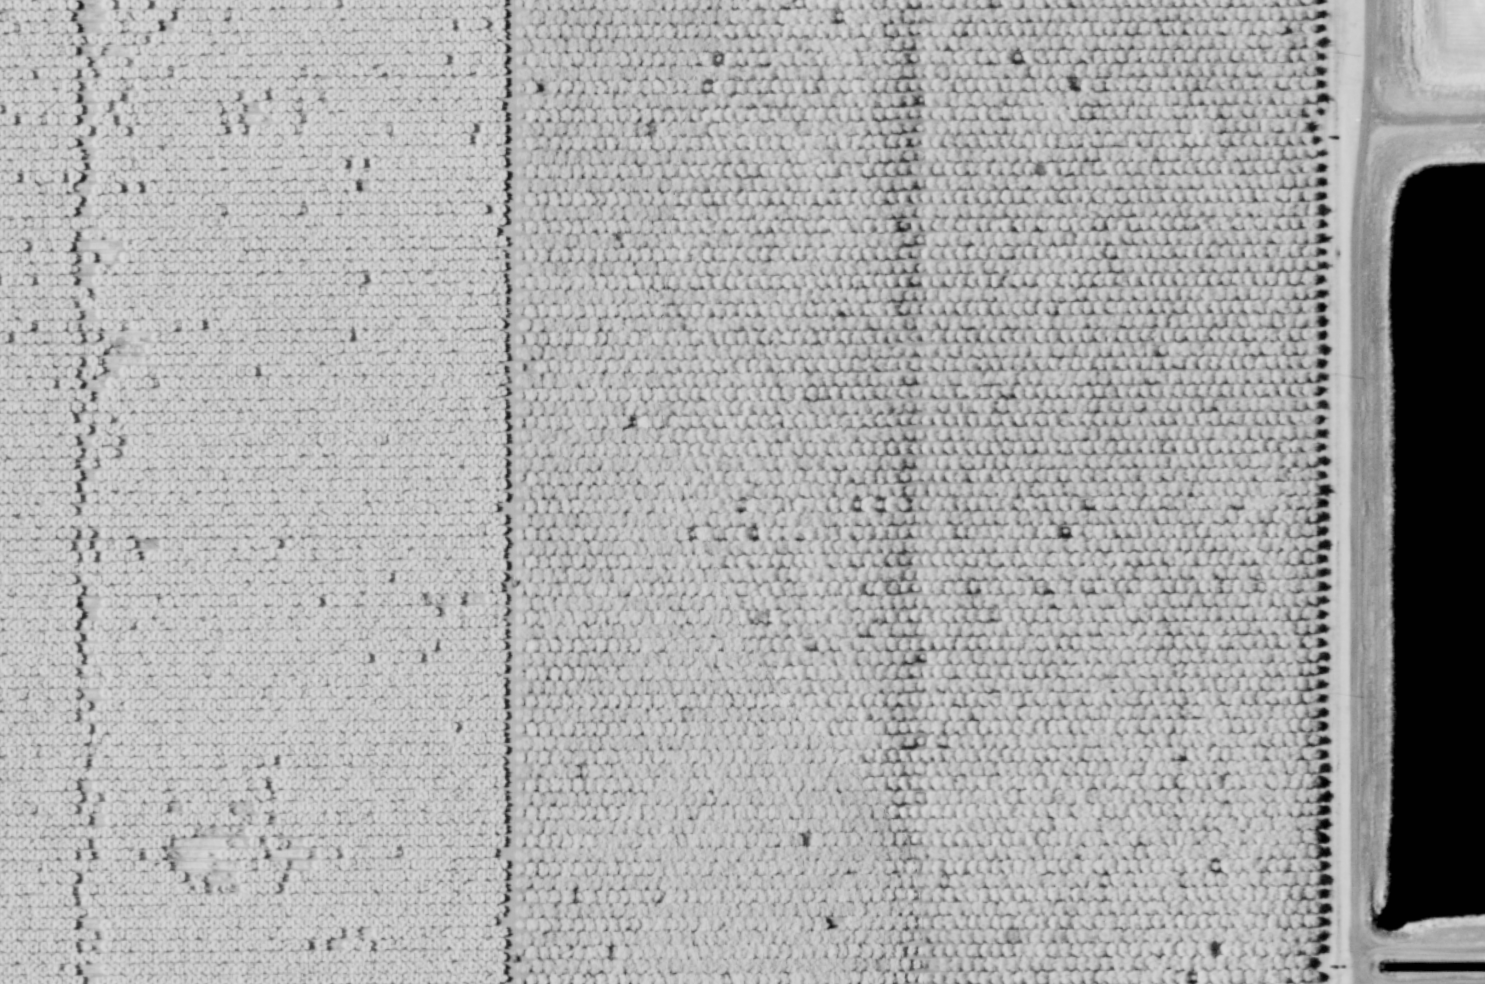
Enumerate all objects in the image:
wastewater plant: (1442, 50)
road: (1425, 124)
road: (1355, 429)
wastewater plant: (1409, 491)
road: (1327, 492)
wastewater plant: (1439, 543)
road: (1384, 945)
road: (1360, 955)
road: (1423, 980)

